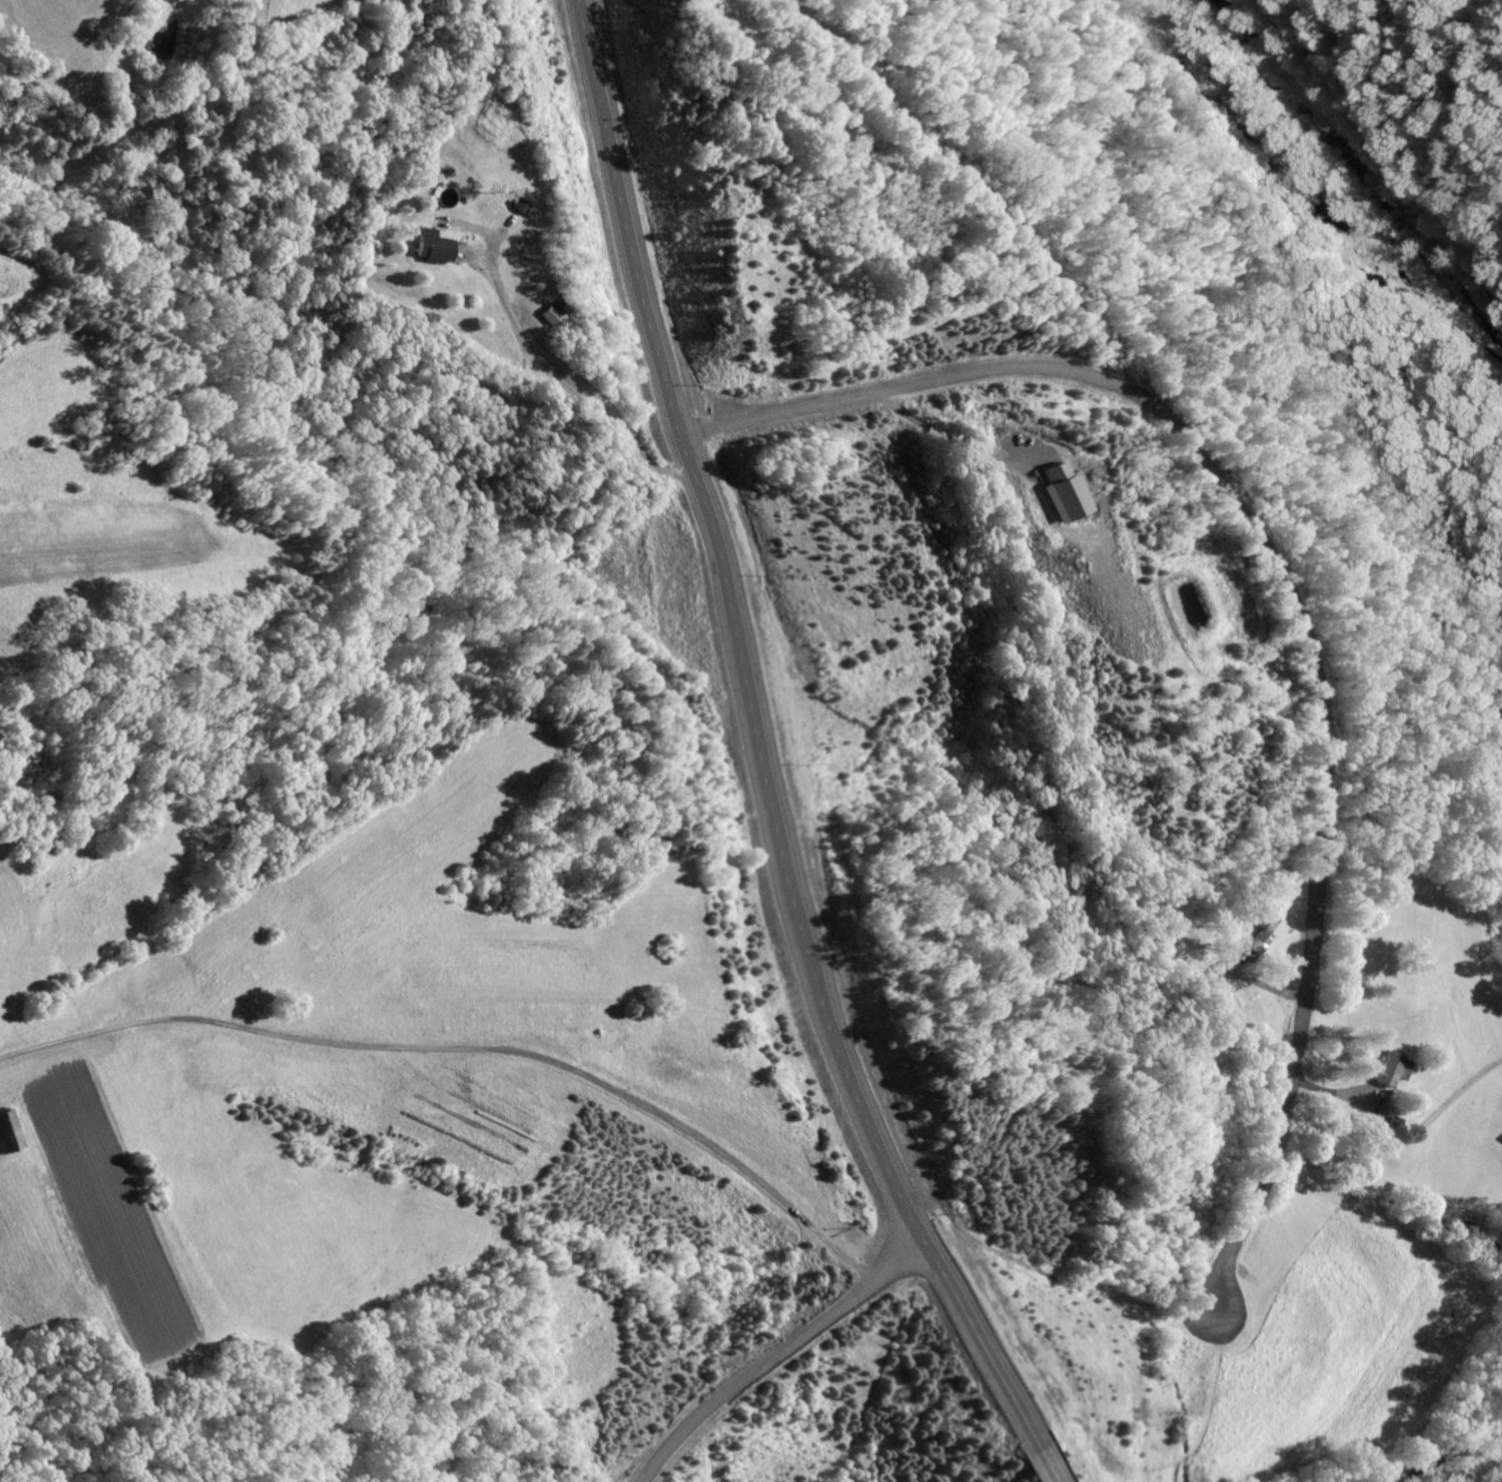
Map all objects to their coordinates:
building: (522, 199)
building: (429, 244)
road: (659, 305)
building: (549, 310)
building: (1060, 491)
road: (1310, 750)
building: (1264, 929)
road: (841, 1034)
building: (1390, 1068)
building: (9, 1131)
road: (192, 1343)
road: (761, 1343)
road: (1030, 1459)

